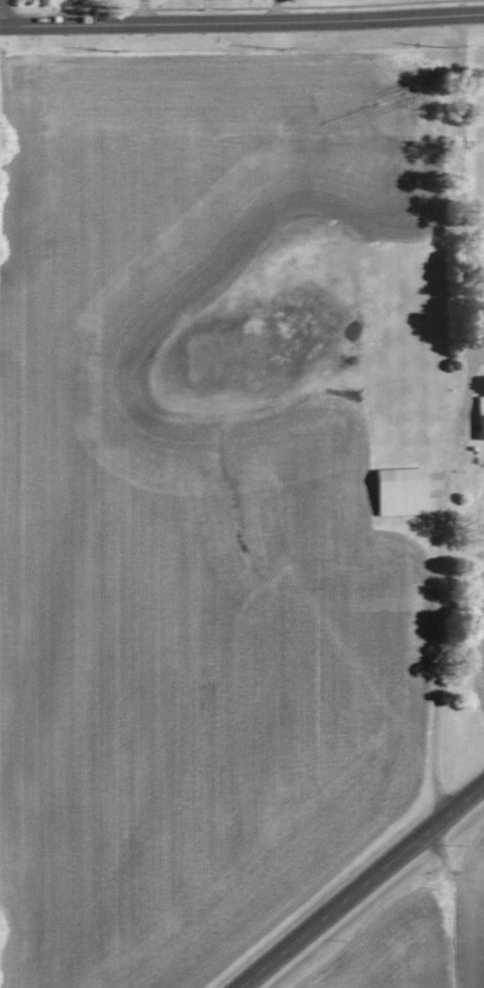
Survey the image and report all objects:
road: (274, 11)
road: (242, 23)
building: (480, 416)
road: (461, 418)
building: (400, 491)
road: (361, 885)

